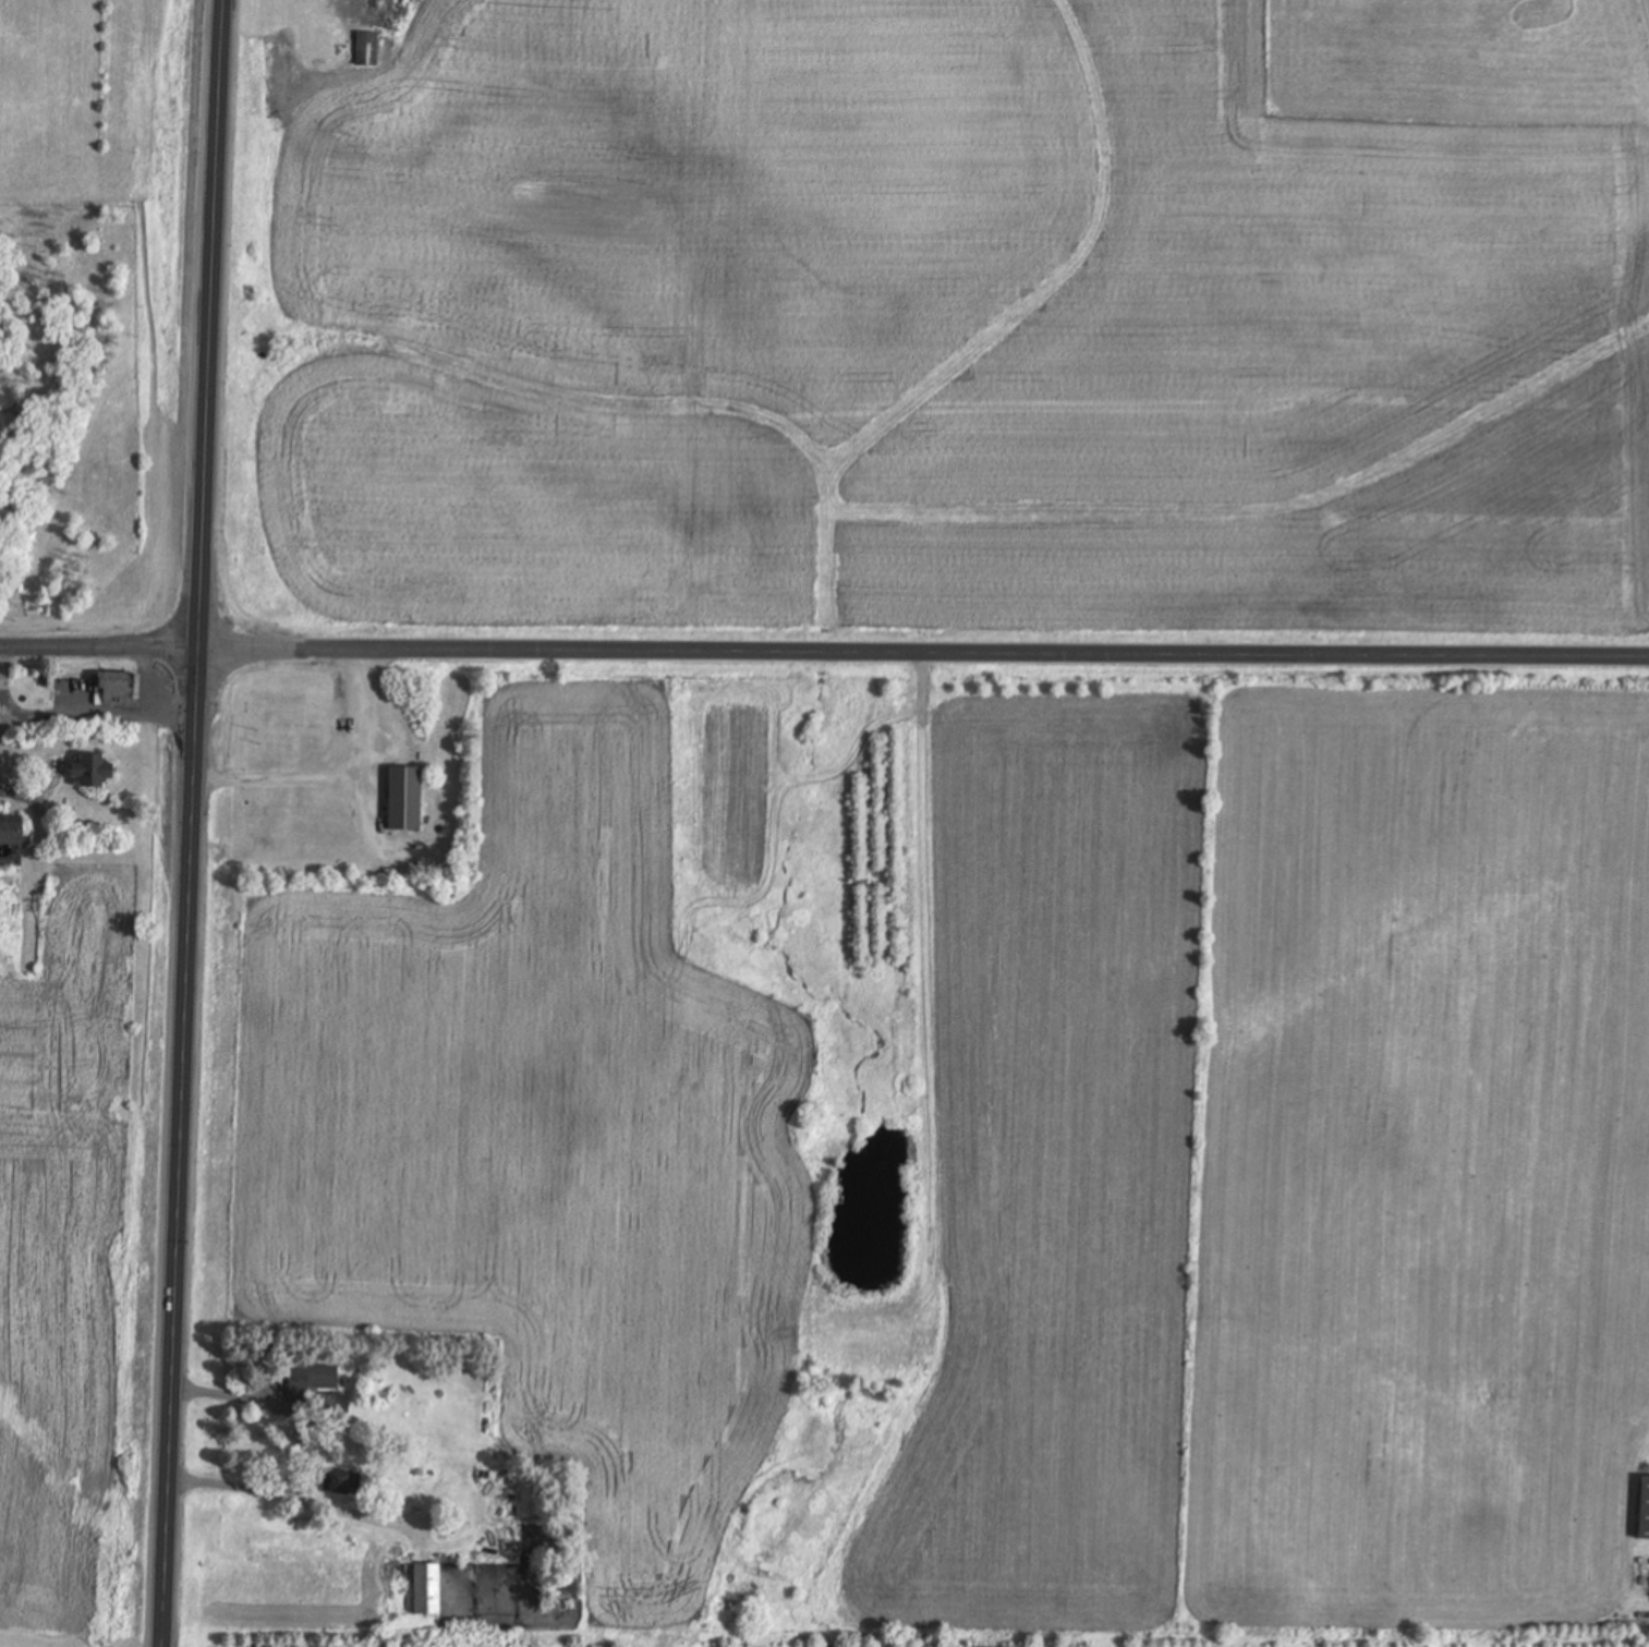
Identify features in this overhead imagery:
building: (366, 49)
road: (824, 656)
building: (116, 689)
building: (92, 772)
building: (404, 799)
road: (187, 823)
building: (10, 841)
building: (311, 1380)
building: (329, 1405)
building: (340, 1483)
building: (1644, 1510)
building: (426, 1591)
road: (14, 1644)

